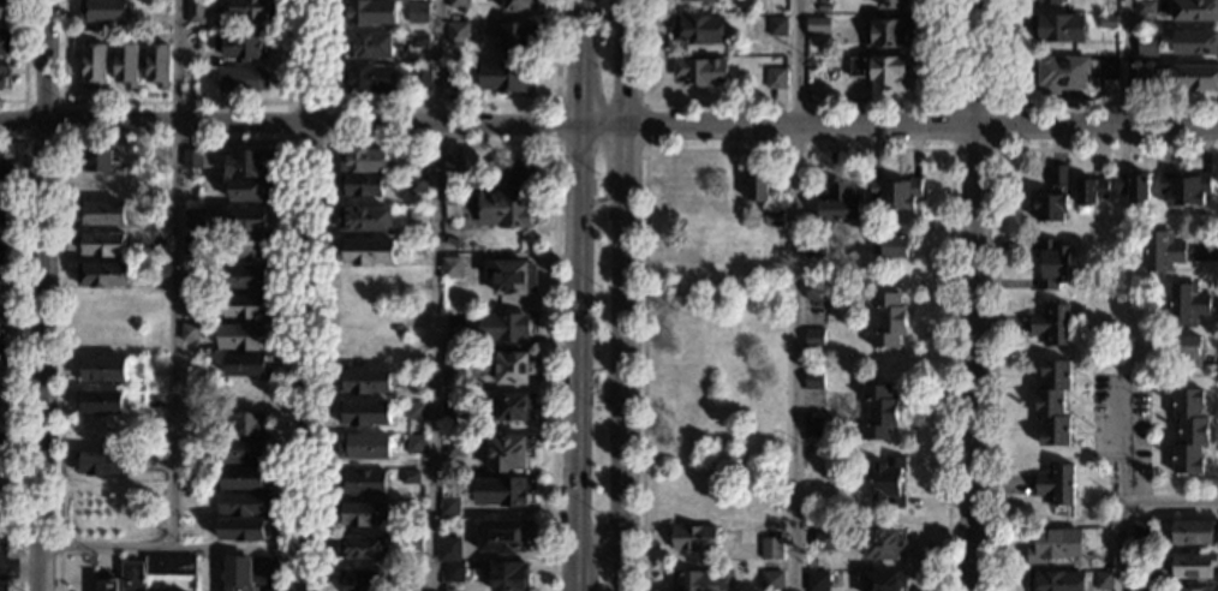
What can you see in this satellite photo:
building: (695, 0)
building: (1055, 1)
building: (126, 2)
building: (458, 4)
building: (890, 4)
building: (520, 6)
building: (1151, 7)
building: (4, 8)
building: (252, 10)
building: (419, 10)
building: (101, 11)
building: (1195, 11)
building: (196, 12)
building: (368, 13)
building: (1107, 22)
building: (157, 26)
building: (777, 26)
building: (818, 26)
building: (1058, 28)
building: (699, 30)
building: (456, 34)
building: (886, 34)
building: (518, 37)
building: (419, 41)
building: (5, 42)
building: (1195, 43)
building: (193, 44)
building: (366, 46)
building: (241, 47)
building: (1146, 53)
road: (1128, 60)
building: (811, 61)
road: (24, 62)
building: (126, 65)
building: (157, 65)
building: (94, 66)
building: (1110, 70)
building: (701, 72)
building: (882, 73)
building: (1062, 73)
building: (204, 74)
building: (453, 74)
building: (420, 77)
building: (504, 77)
building: (1, 78)
building: (368, 78)
building: (1194, 78)
building: (776, 79)
building: (243, 80)
building: (1142, 80)
road: (64, 102)
road: (177, 103)
road: (790, 103)
road: (1062, 103)
road: (328, 105)
road: (441, 105)
road: (608, 121)
road: (945, 133)
road: (173, 141)
road: (441, 143)
road: (645, 145)
road: (798, 149)
building: (190, 159)
building: (416, 160)
building: (97, 161)
building: (363, 161)
building: (247, 163)
building: (4, 169)
building: (453, 173)
building: (511, 174)
building: (1058, 175)
building: (417, 185)
building: (360, 186)
building: (757, 187)
building: (1133, 187)
building: (4, 189)
building: (251, 190)
building: (1183, 190)
building: (1089, 191)
building: (895, 195)
building: (450, 203)
building: (838, 203)
building: (1049, 208)
building: (507, 209)
building: (102, 215)
building: (418, 216)
building: (774, 217)
building: (2, 219)
building: (192, 219)
building: (247, 220)
building: (365, 220)
building: (156, 243)
building: (101, 245)
building: (191, 245)
building: (250, 247)
building: (894, 247)
building: (816, 249)
building: (1163, 251)
building: (366, 252)
building: (1, 259)
road: (996, 259)
building: (1052, 264)
building: (452, 268)
road: (577, 270)
road: (628, 270)
road: (174, 274)
building: (103, 275)
building: (191, 275)
building: (246, 276)
building: (512, 277)
building: (814, 291)
road: (42, 294)
road: (308, 294)
road: (436, 294)
road: (796, 294)
road: (974, 294)
building: (1187, 304)
building: (247, 306)
building: (2, 320)
building: (456, 320)
building: (889, 320)
building: (1051, 324)
building: (502, 329)
building: (190, 334)
building: (244, 336)
building: (814, 339)
building: (4, 351)
building: (1187, 351)
road: (20, 353)
building: (453, 362)
building: (190, 364)
building: (247, 365)
building: (502, 366)
building: (100, 370)
building: (813, 380)
building: (416, 381)
building: (366, 382)
building: (190, 393)
building: (249, 394)
building: (98, 402)
building: (1052, 404)
building: (452, 407)
building: (509, 407)
building: (416, 411)
building: (365, 413)
building: (879, 413)
building: (189, 417)
building: (249, 423)
building: (813, 428)
building: (1189, 432)
building: (0, 441)
building: (414, 444)
building: (363, 447)
building: (455, 447)
building: (246, 452)
building: (507, 453)
building: (101, 464)
building: (410, 477)
building: (245, 480)
building: (889, 482)
building: (362, 483)
building: (1056, 484)
road: (1122, 485)
building: (502, 491)
building: (243, 505)
road: (1170, 505)
building: (449, 507)
building: (364, 514)
building: (243, 530)
building: (1142, 530)
building: (1194, 532)
building: (504, 536)
building: (693, 538)
building: (825, 539)
road: (598, 542)
building: (414, 543)
building: (882, 544)
building: (1055, 545)
road: (172, 548)
building: (362, 548)
building: (449, 549)
building: (771, 549)
road: (574, 550)
parking lot: (2, 563)
building: (1140, 563)
building: (171, 565)
road: (622, 567)
building: (1194, 567)
road: (20, 569)
building: (453, 573)
building: (238, 574)
road: (573, 575)
building: (131, 577)
building: (507, 577)
building: (362, 580)
building: (818, 580)
building: (882, 580)
building: (1056, 580)
building: (1104, 580)
building: (698, 581)
building: (772, 581)
building: (107, 585)
building: (1139, 590)
building: (1190, 590)

